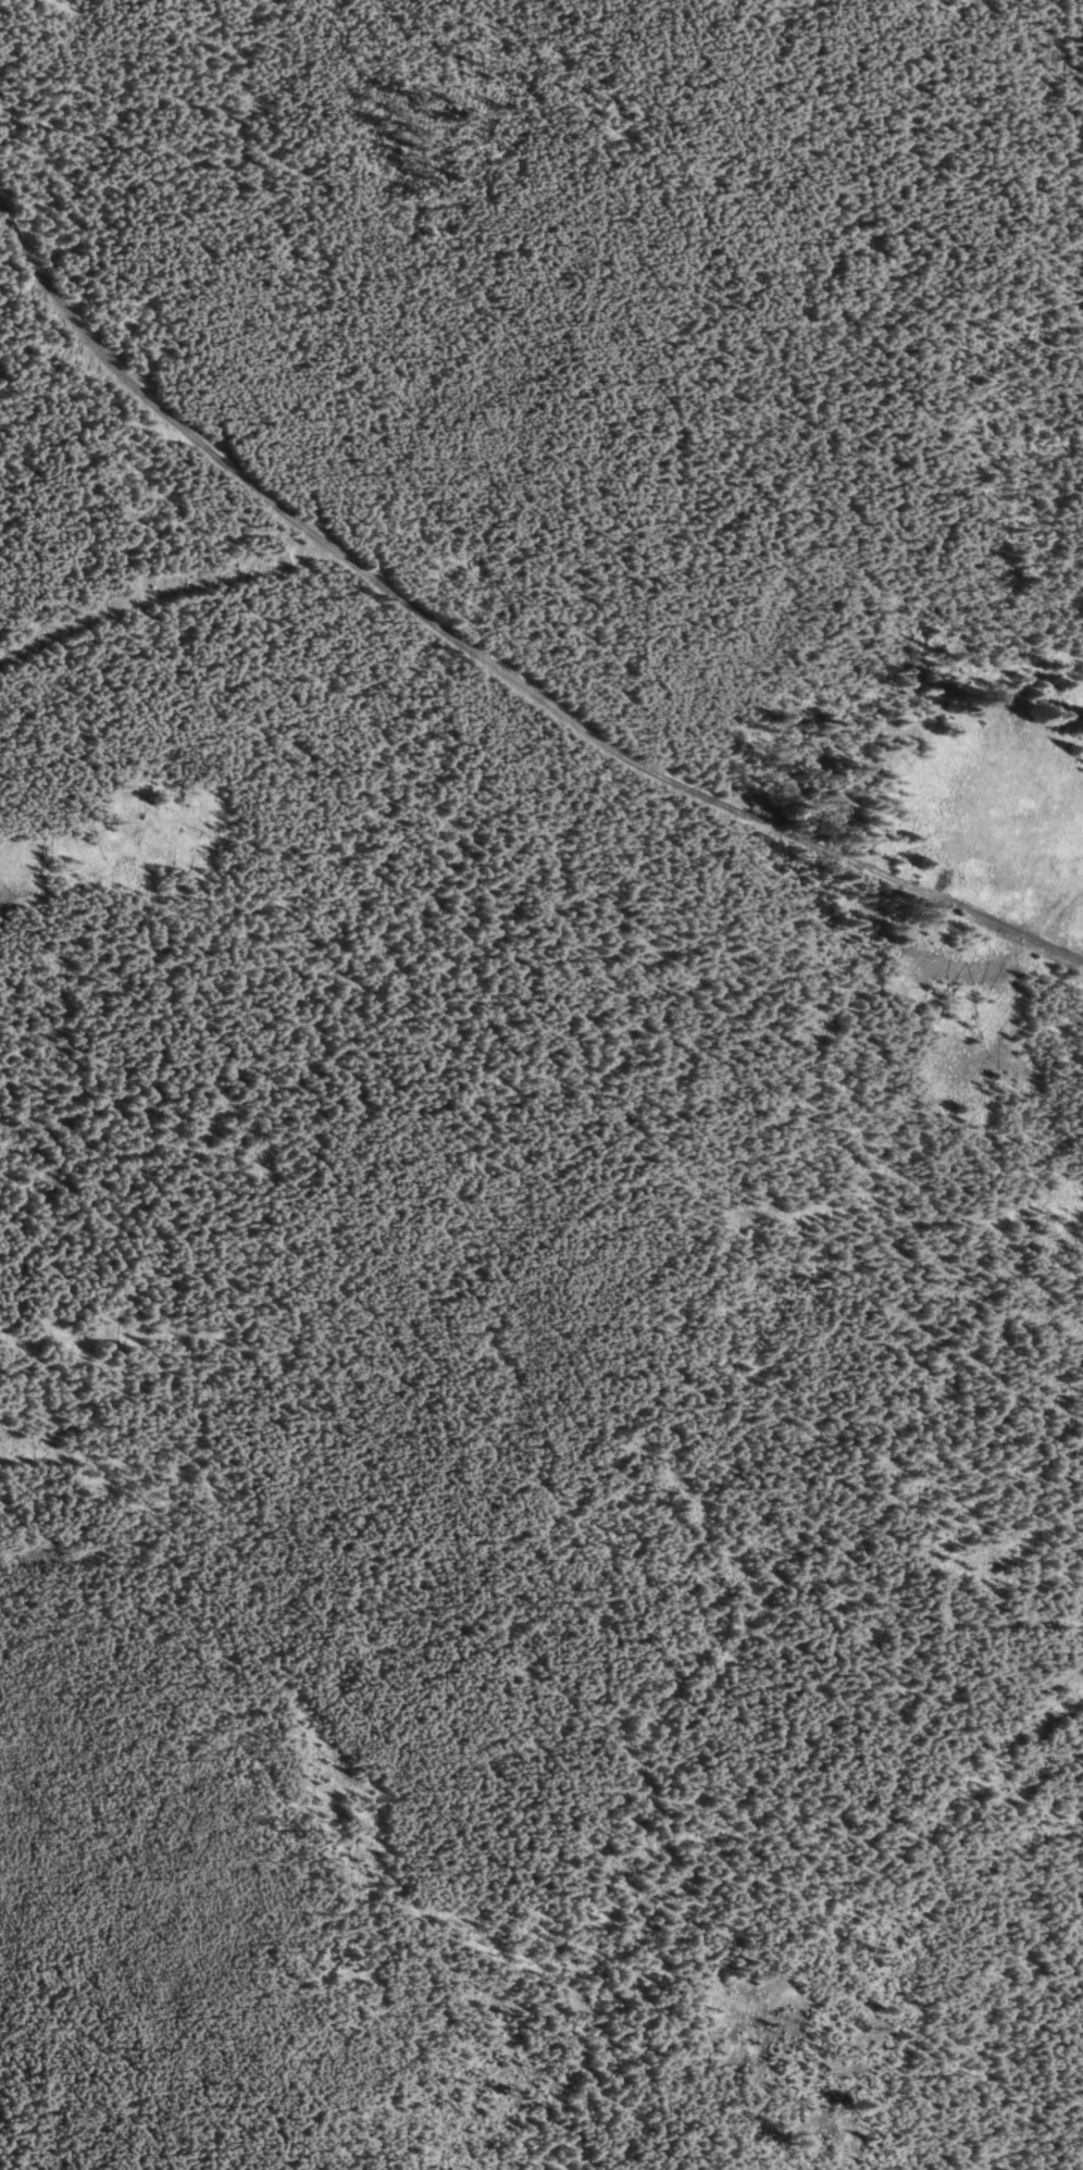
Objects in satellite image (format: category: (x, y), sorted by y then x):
road: (485, 673)

